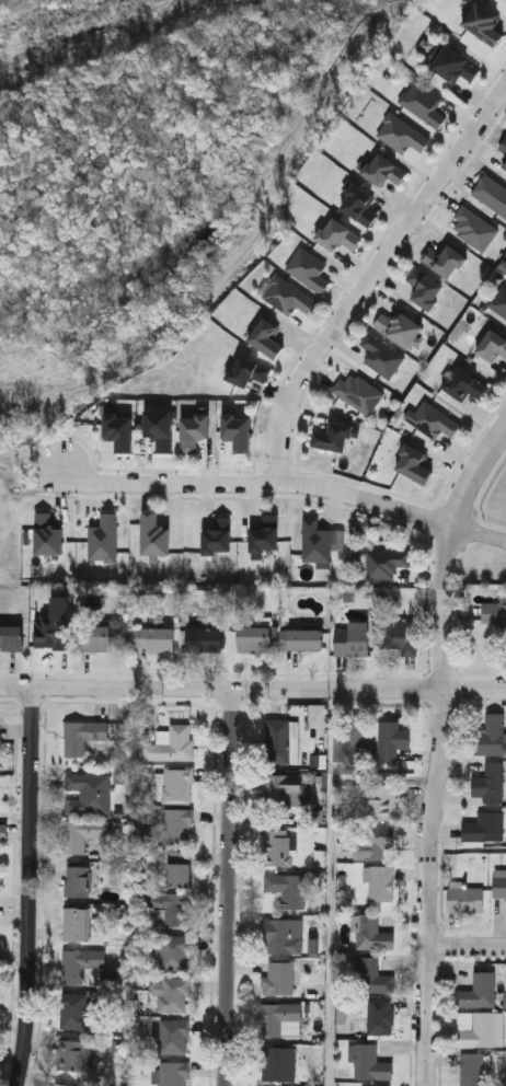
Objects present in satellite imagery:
building: (482, 22)
building: (452, 63)
building: (421, 102)
building: (399, 132)
building: (502, 146)
building: (503, 163)
building: (381, 169)
building: (490, 194)
building: (357, 203)
building: (470, 227)
building: (335, 233)
building: (442, 258)
building: (306, 268)
road: (370, 271)
building: (422, 287)
building: (285, 294)
building: (498, 299)
building: (396, 326)
building: (264, 336)
building: (492, 345)
building: (378, 353)
building: (242, 369)
building: (462, 383)
building: (356, 391)
building: (432, 420)
building: (158, 428)
building: (117, 429)
building: (237, 430)
building: (191, 431)
building: (331, 436)
building: (412, 462)
road: (258, 484)
road: (479, 532)
building: (263, 533)
building: (45, 534)
building: (152, 534)
building: (215, 535)
building: (101, 538)
building: (313, 540)
building: (384, 562)
building: (495, 613)
building: (400, 634)
building: (48, 635)
building: (11, 637)
building: (102, 637)
building: (156, 638)
building: (205, 638)
building: (255, 638)
building: (302, 639)
building: (352, 640)
road: (118, 689)
road: (371, 690)
building: (491, 735)
building: (82, 736)
building: (278, 740)
building: (352, 740)
building: (392, 740)
building: (172, 744)
road: (440, 750)
building: (488, 782)
building: (177, 784)
building: (285, 790)
building: (88, 793)
building: (382, 801)
building: (177, 827)
building: (484, 828)
building: (82, 833)
building: (372, 841)
building: (283, 847)
building: (180, 874)
building: (78, 881)
building: (379, 882)
building: (499, 886)
road: (32, 887)
road: (231, 887)
road: (324, 888)
building: (287, 889)
building: (465, 899)
building: (172, 906)
building: (77, 923)
building: (372, 932)
building: (283, 935)
road: (468, 948)
building: (173, 950)
building: (80, 963)
building: (371, 975)
building: (278, 978)
building: (479, 991)
building: (174, 994)
building: (78, 1012)
building: (380, 1016)
building: (280, 1018)
building: (475, 1029)
building: (173, 1036)
building: (76, 1055)
building: (369, 1063)
building: (279, 1064)
building: (475, 1070)
building: (173, 1073)

